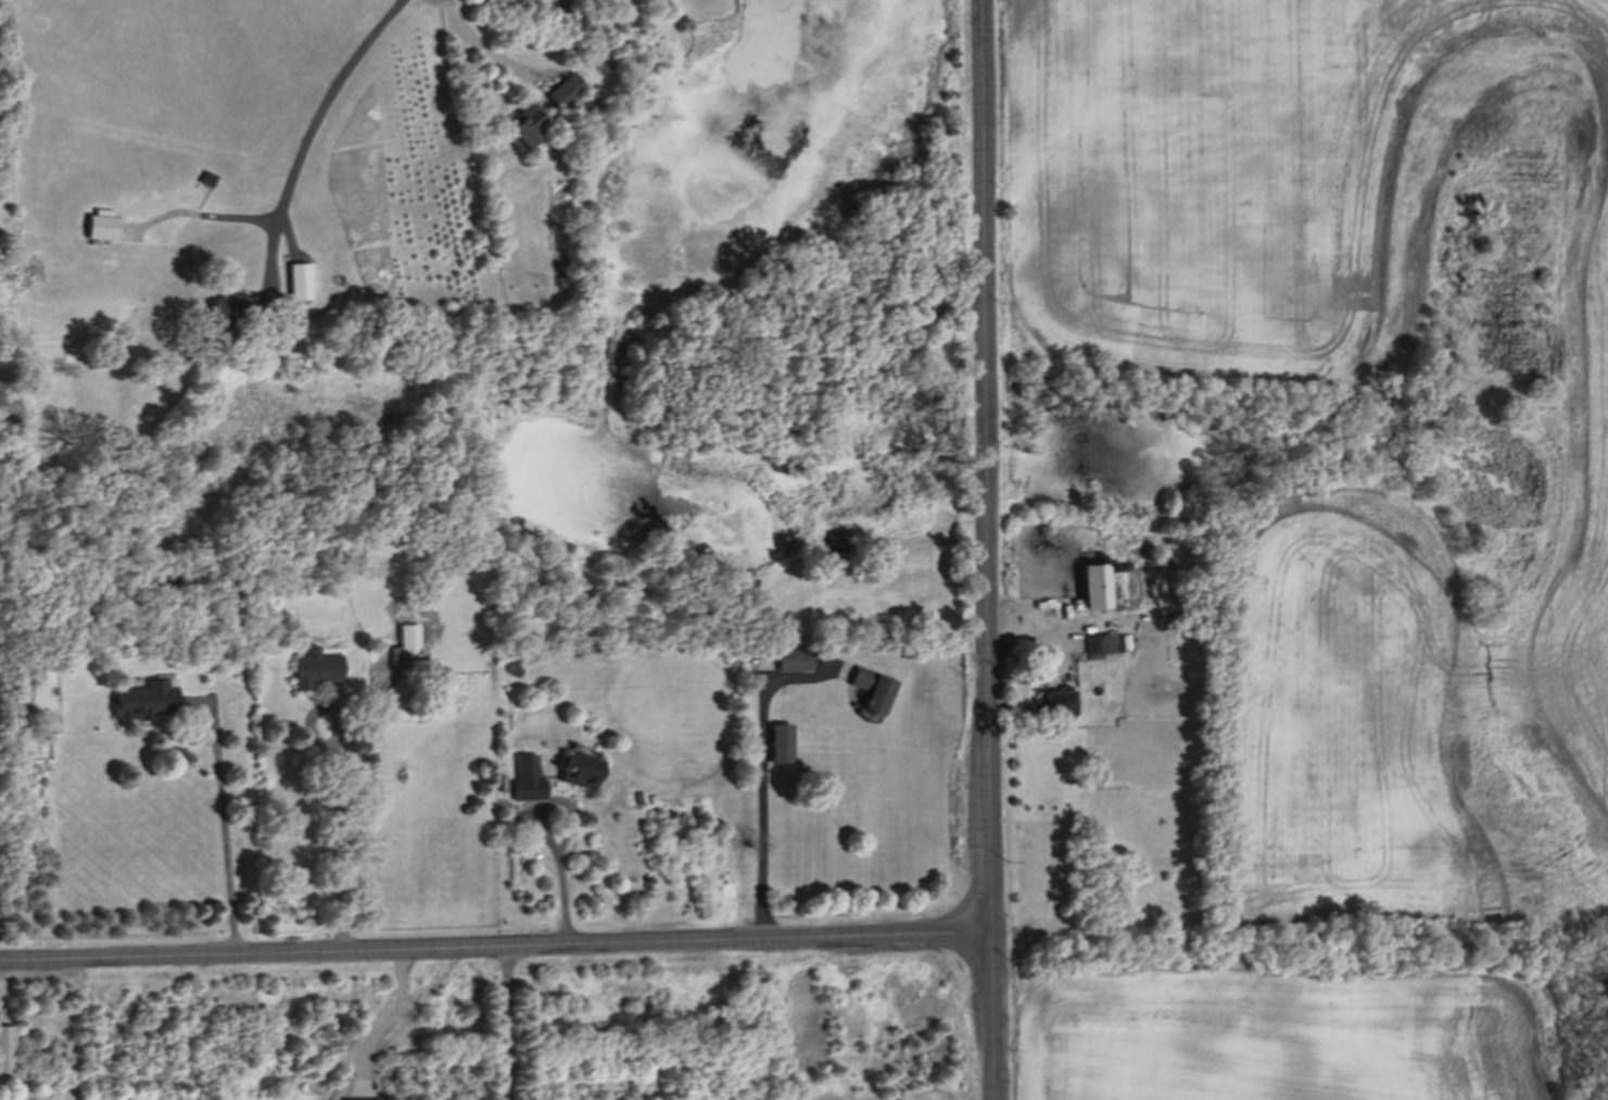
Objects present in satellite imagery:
road: (488, 45)
building: (566, 91)
road: (309, 127)
building: (524, 128)
building: (104, 225)
building: (299, 281)
building: (228, 312)
road: (984, 549)
building: (1092, 589)
building: (408, 648)
building: (796, 660)
building: (317, 669)
building: (874, 691)
building: (147, 701)
building: (1058, 704)
building: (782, 744)
building: (580, 768)
building: (530, 780)
road: (768, 781)
road: (337, 789)
road: (547, 833)
road: (226, 835)
road: (494, 945)
road: (506, 1022)
building: (8, 1053)

